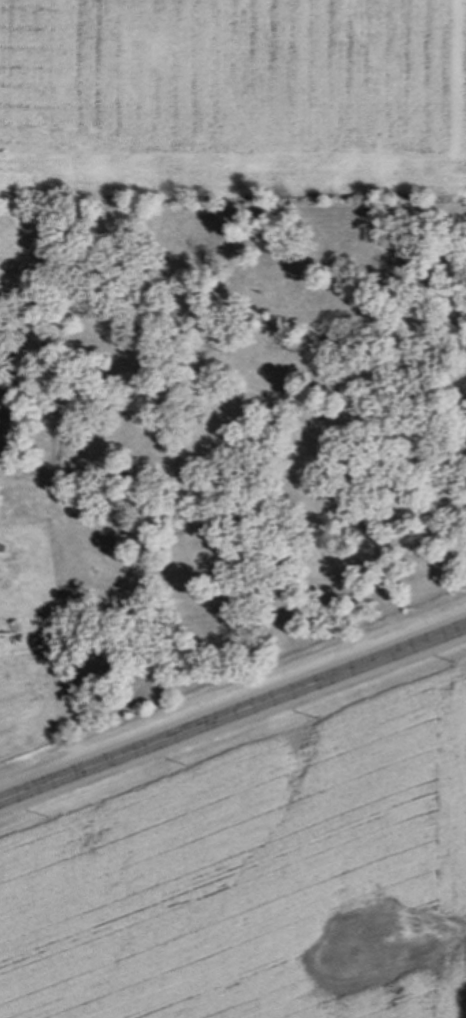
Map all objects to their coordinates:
road: (233, 715)

